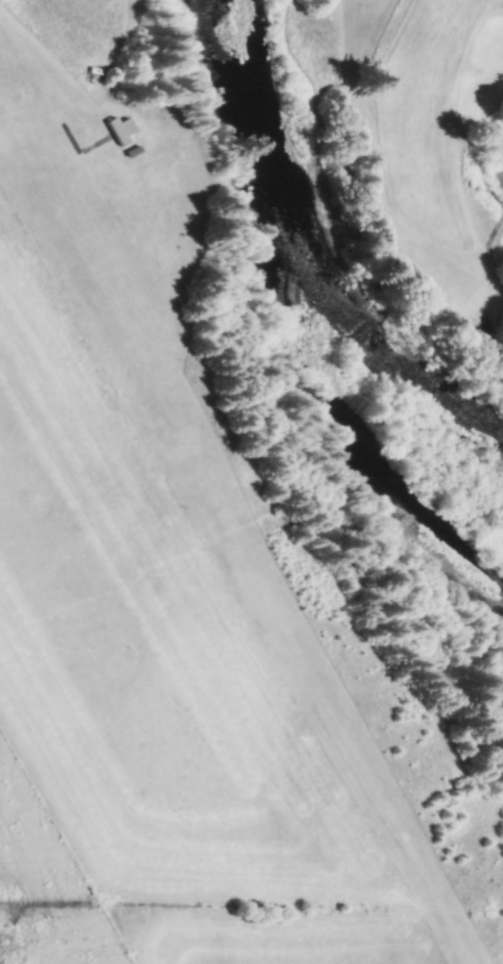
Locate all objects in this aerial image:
road: (59, 100)
building: (117, 131)
river: (293, 257)
airport runway: (229, 564)

